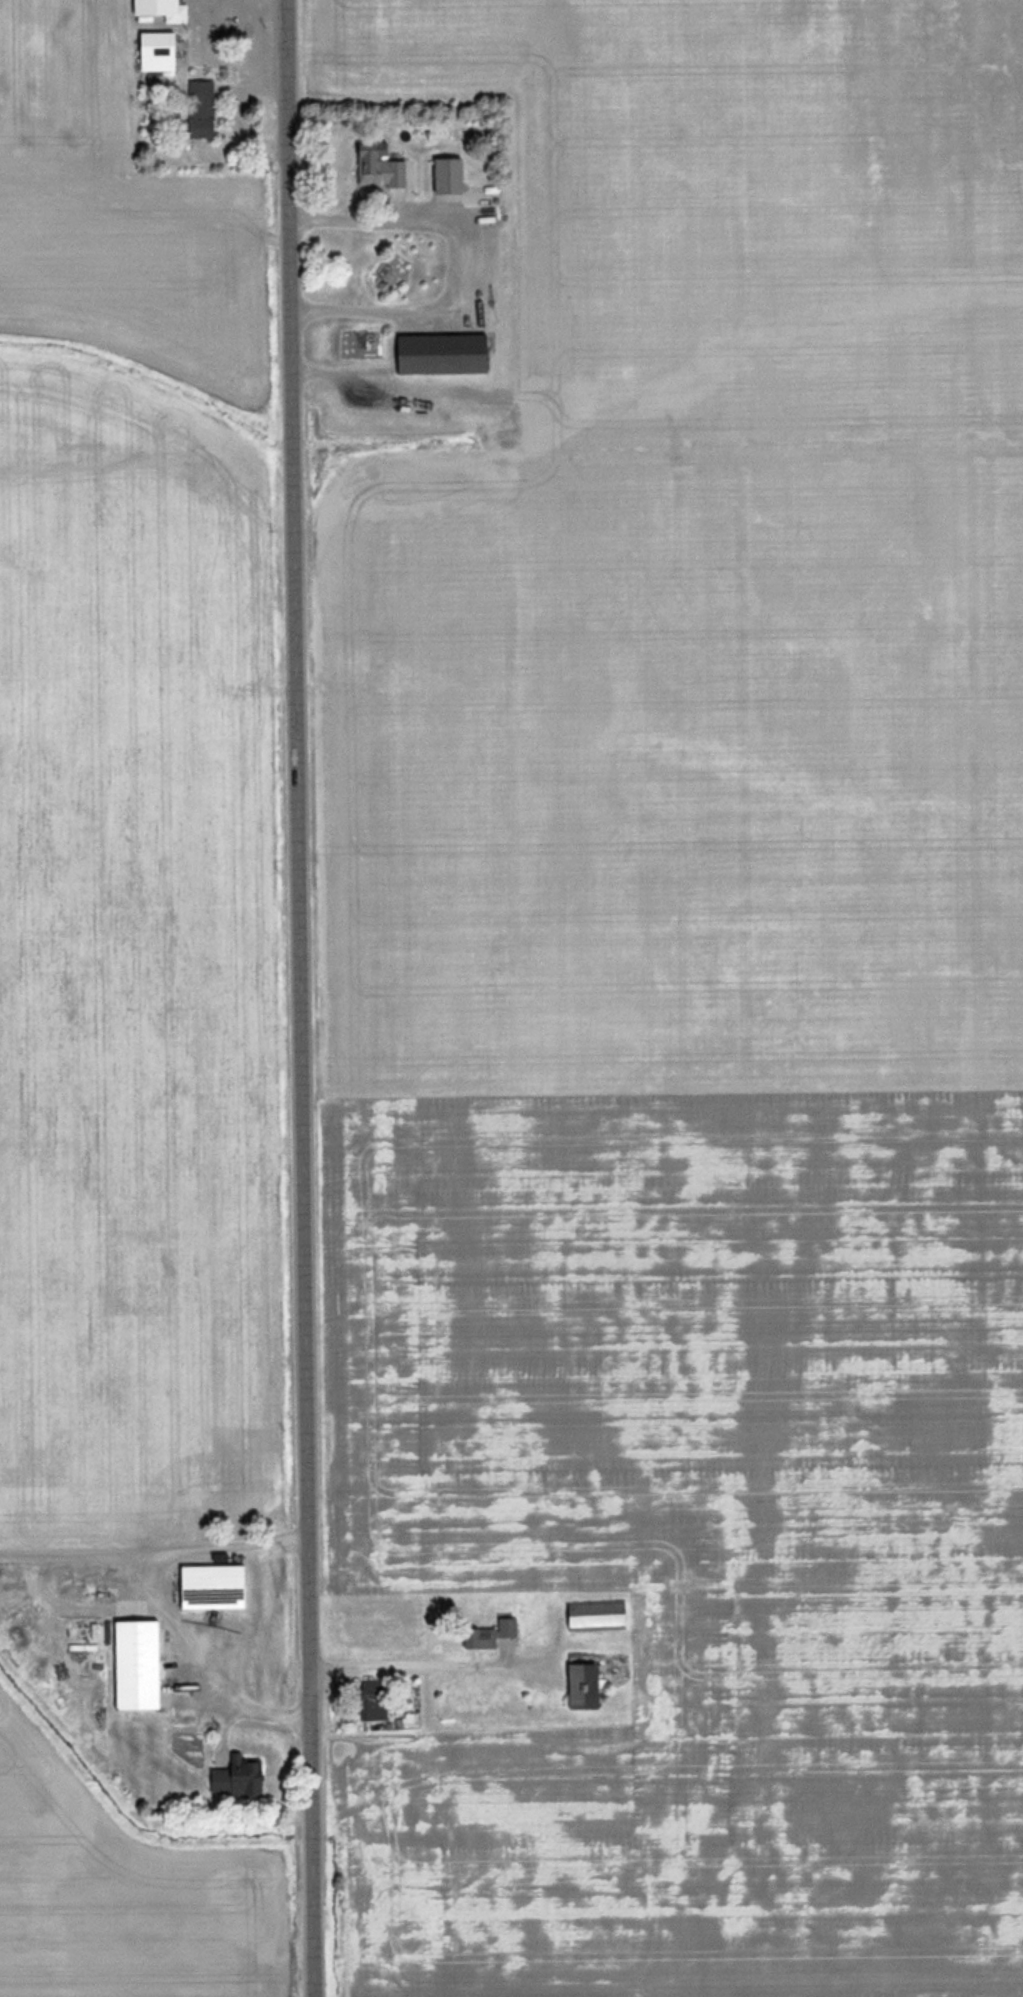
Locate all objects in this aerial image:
building: (158, 50)
building: (202, 107)
building: (379, 165)
building: (449, 173)
road: (459, 262)
building: (442, 352)
road: (301, 998)
road: (155, 1544)
building: (213, 1585)
building: (597, 1614)
building: (492, 1633)
building: (138, 1663)
building: (584, 1683)
building: (374, 1698)
building: (237, 1776)

